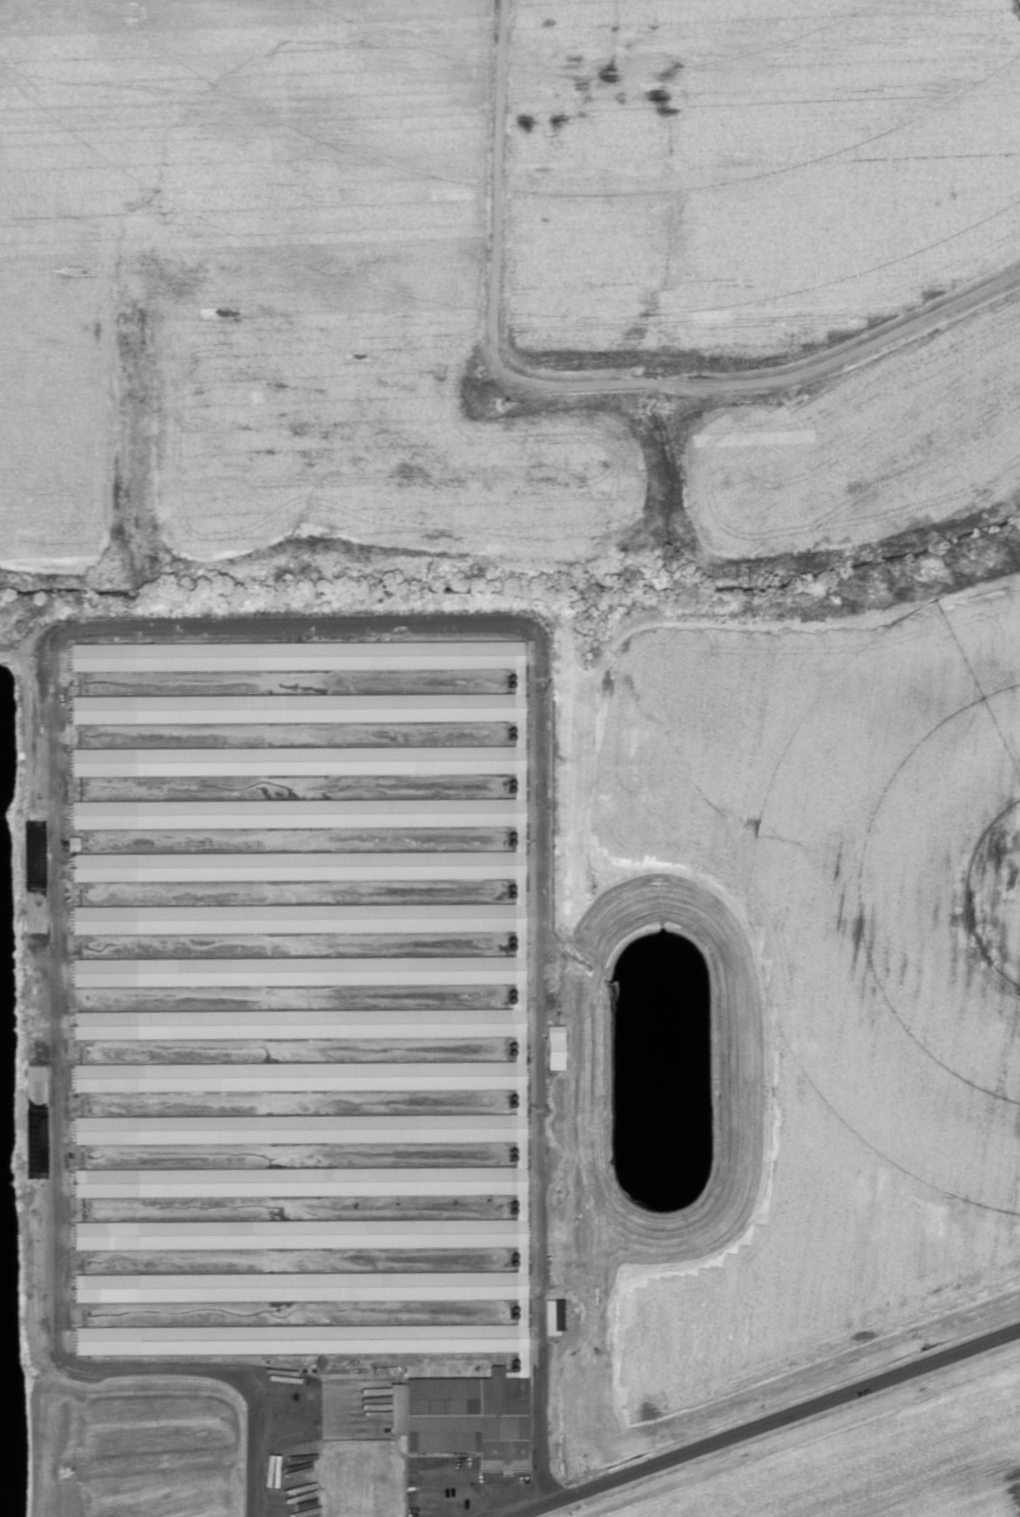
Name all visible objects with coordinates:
road: (602, 378)
building: (555, 1051)
road: (383, 1182)
road: (753, 1418)

